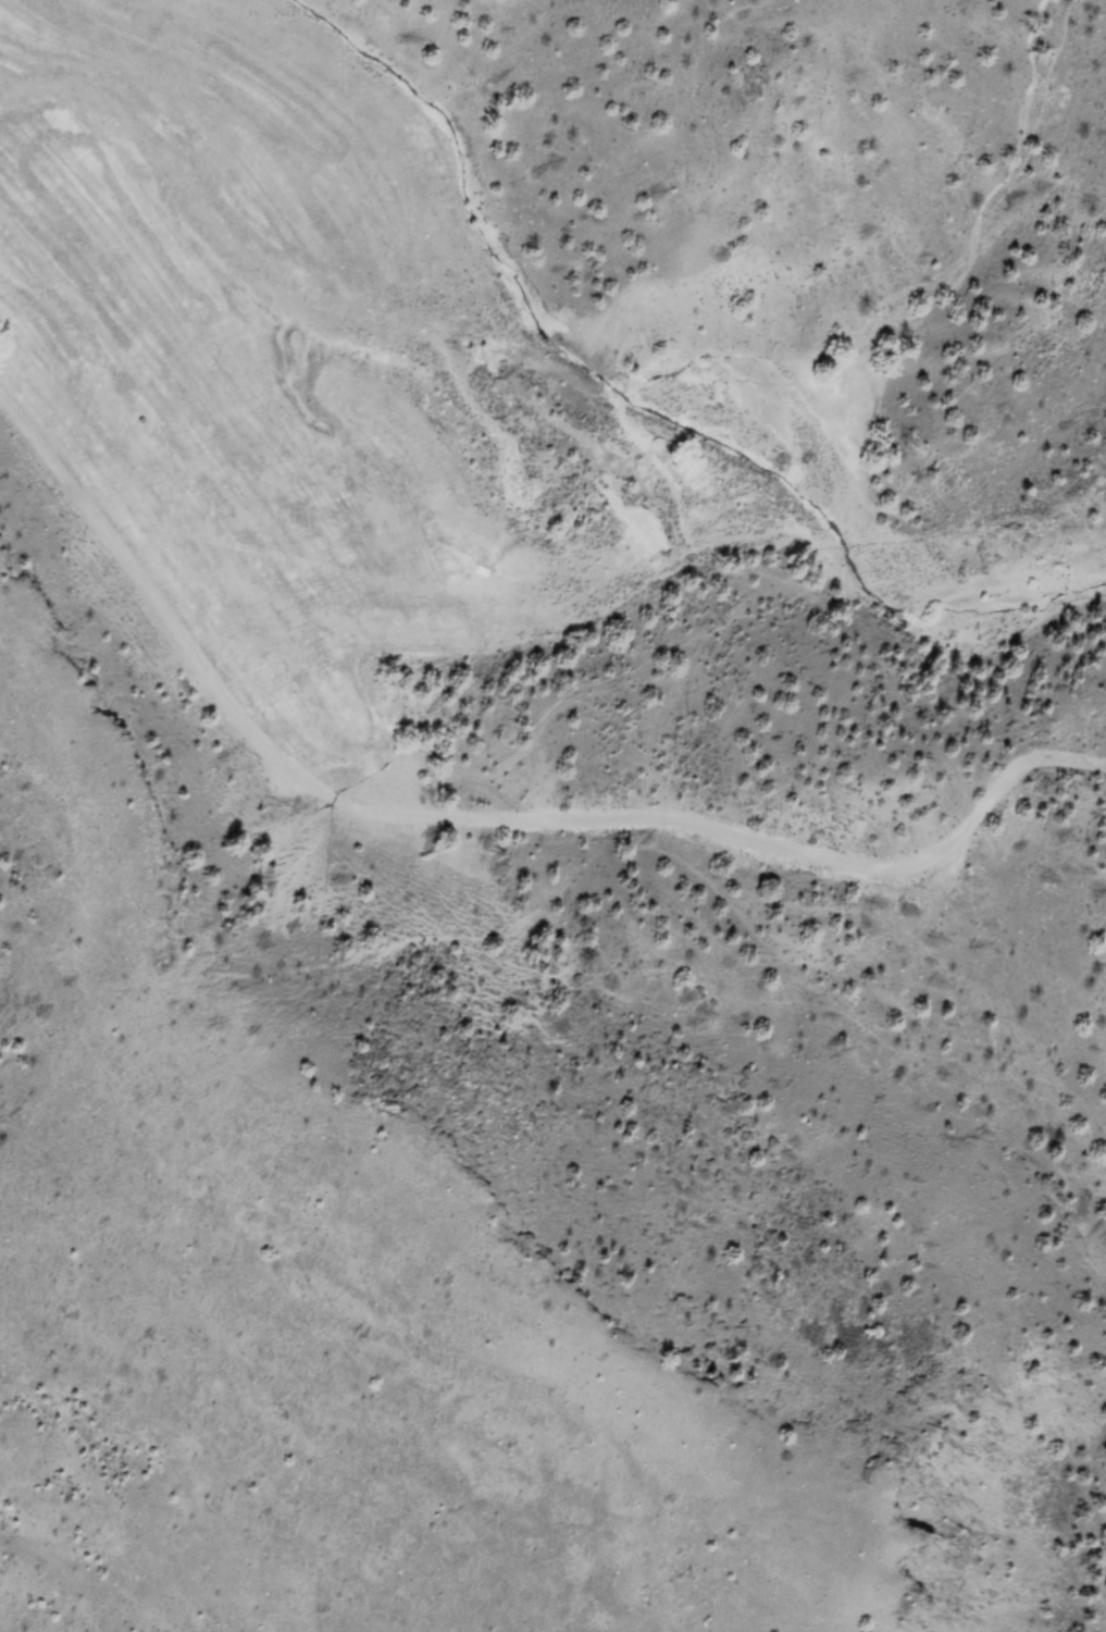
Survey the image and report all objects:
road: (563, 814)

